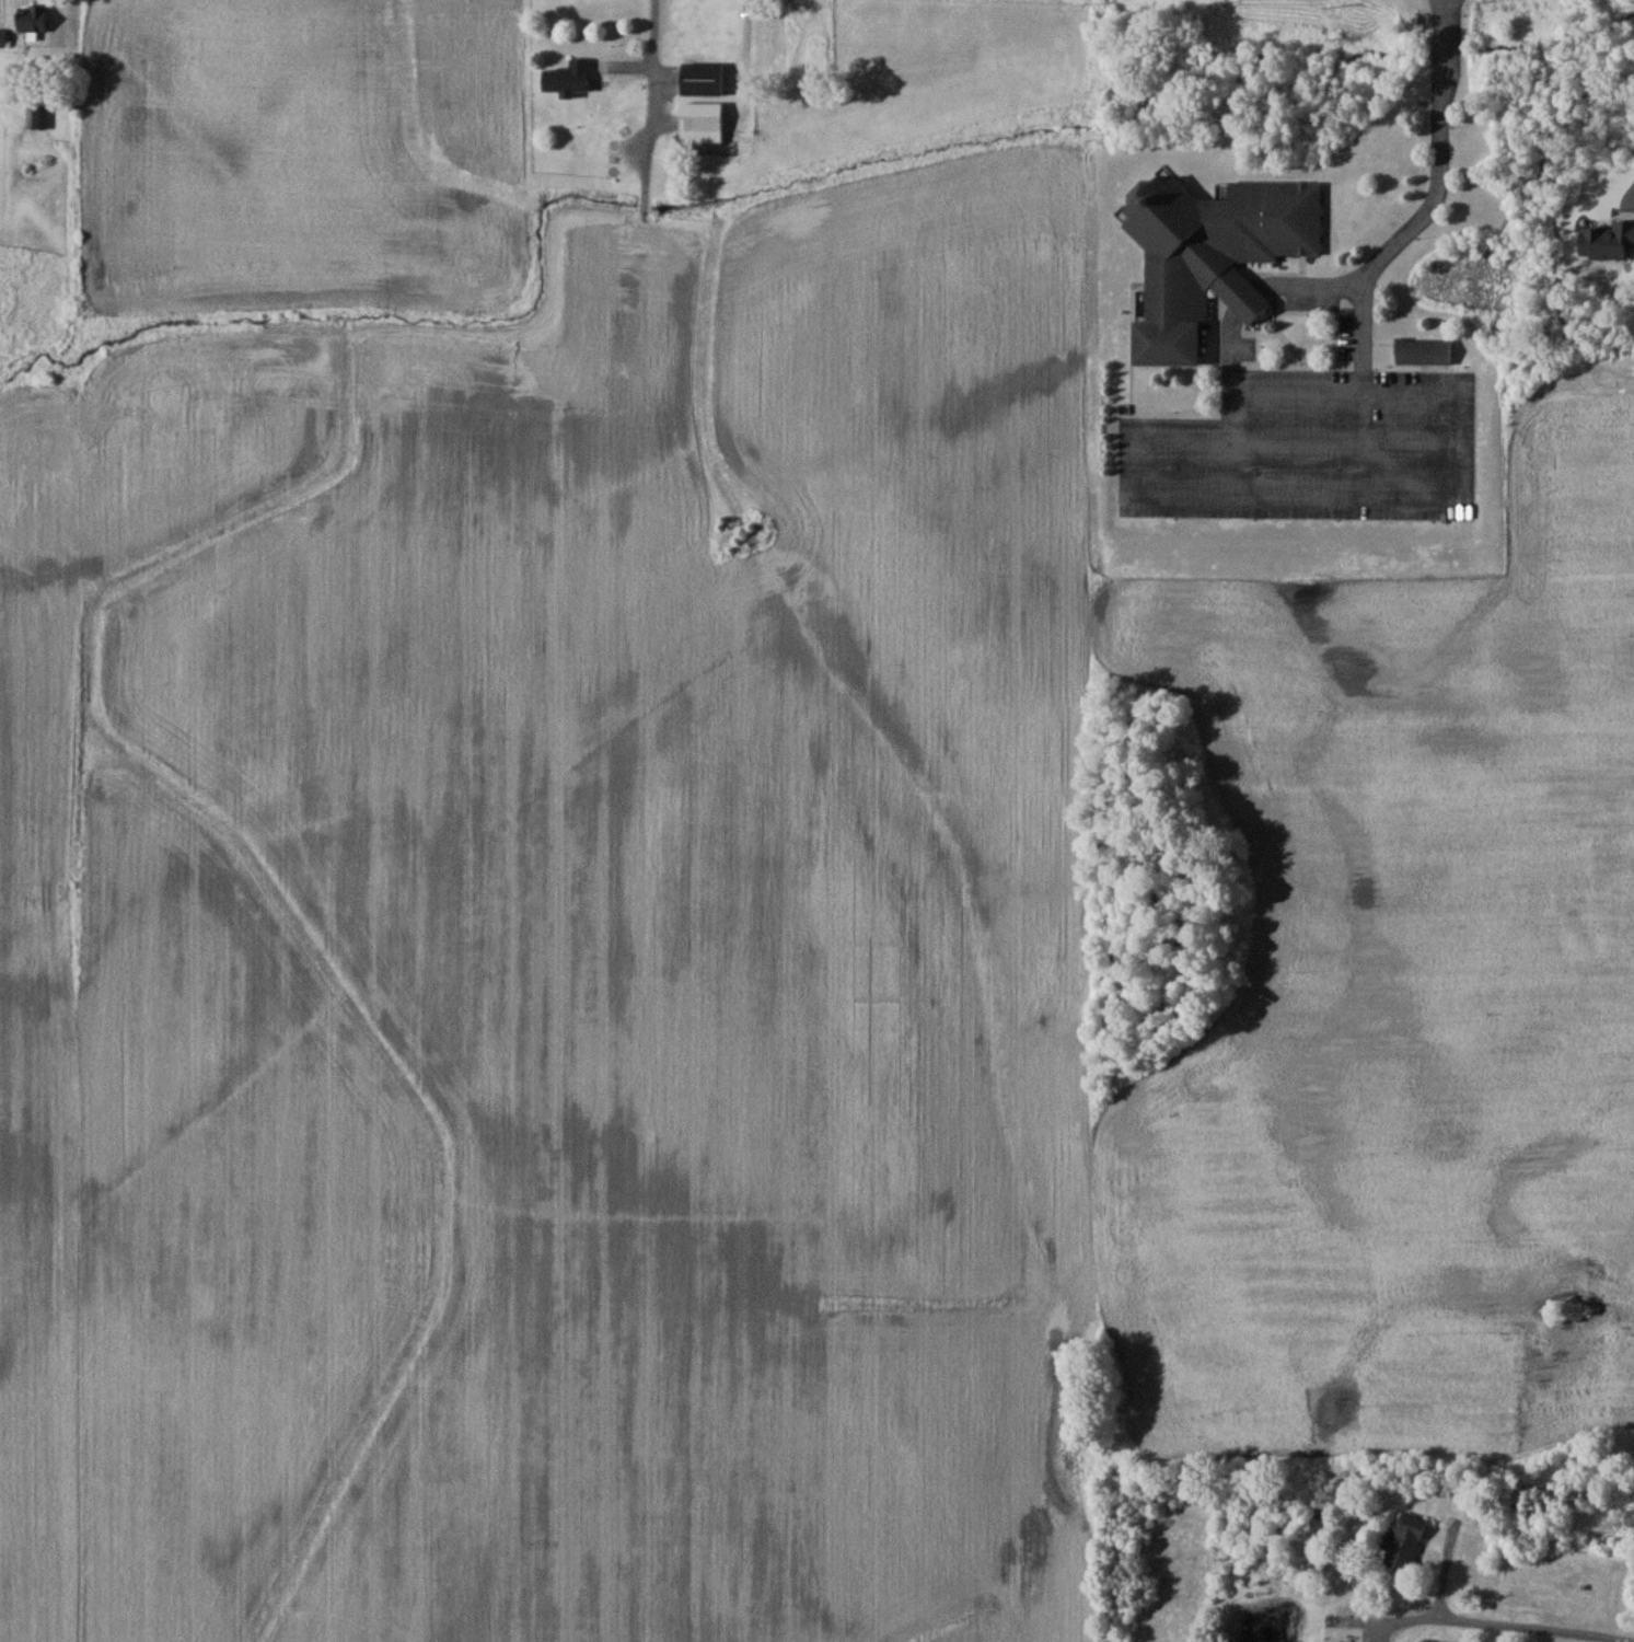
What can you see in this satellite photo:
building: (32, 18)
building: (2, 37)
building: (567, 77)
building: (702, 79)
road: (648, 84)
building: (33, 114)
building: (700, 122)
building: (1210, 255)
road: (1307, 286)
road: (1243, 300)
building: (1423, 351)
road: (1291, 390)
road: (1343, 441)
road: (1458, 490)
building: (1405, 1539)
road: (1509, 1620)

